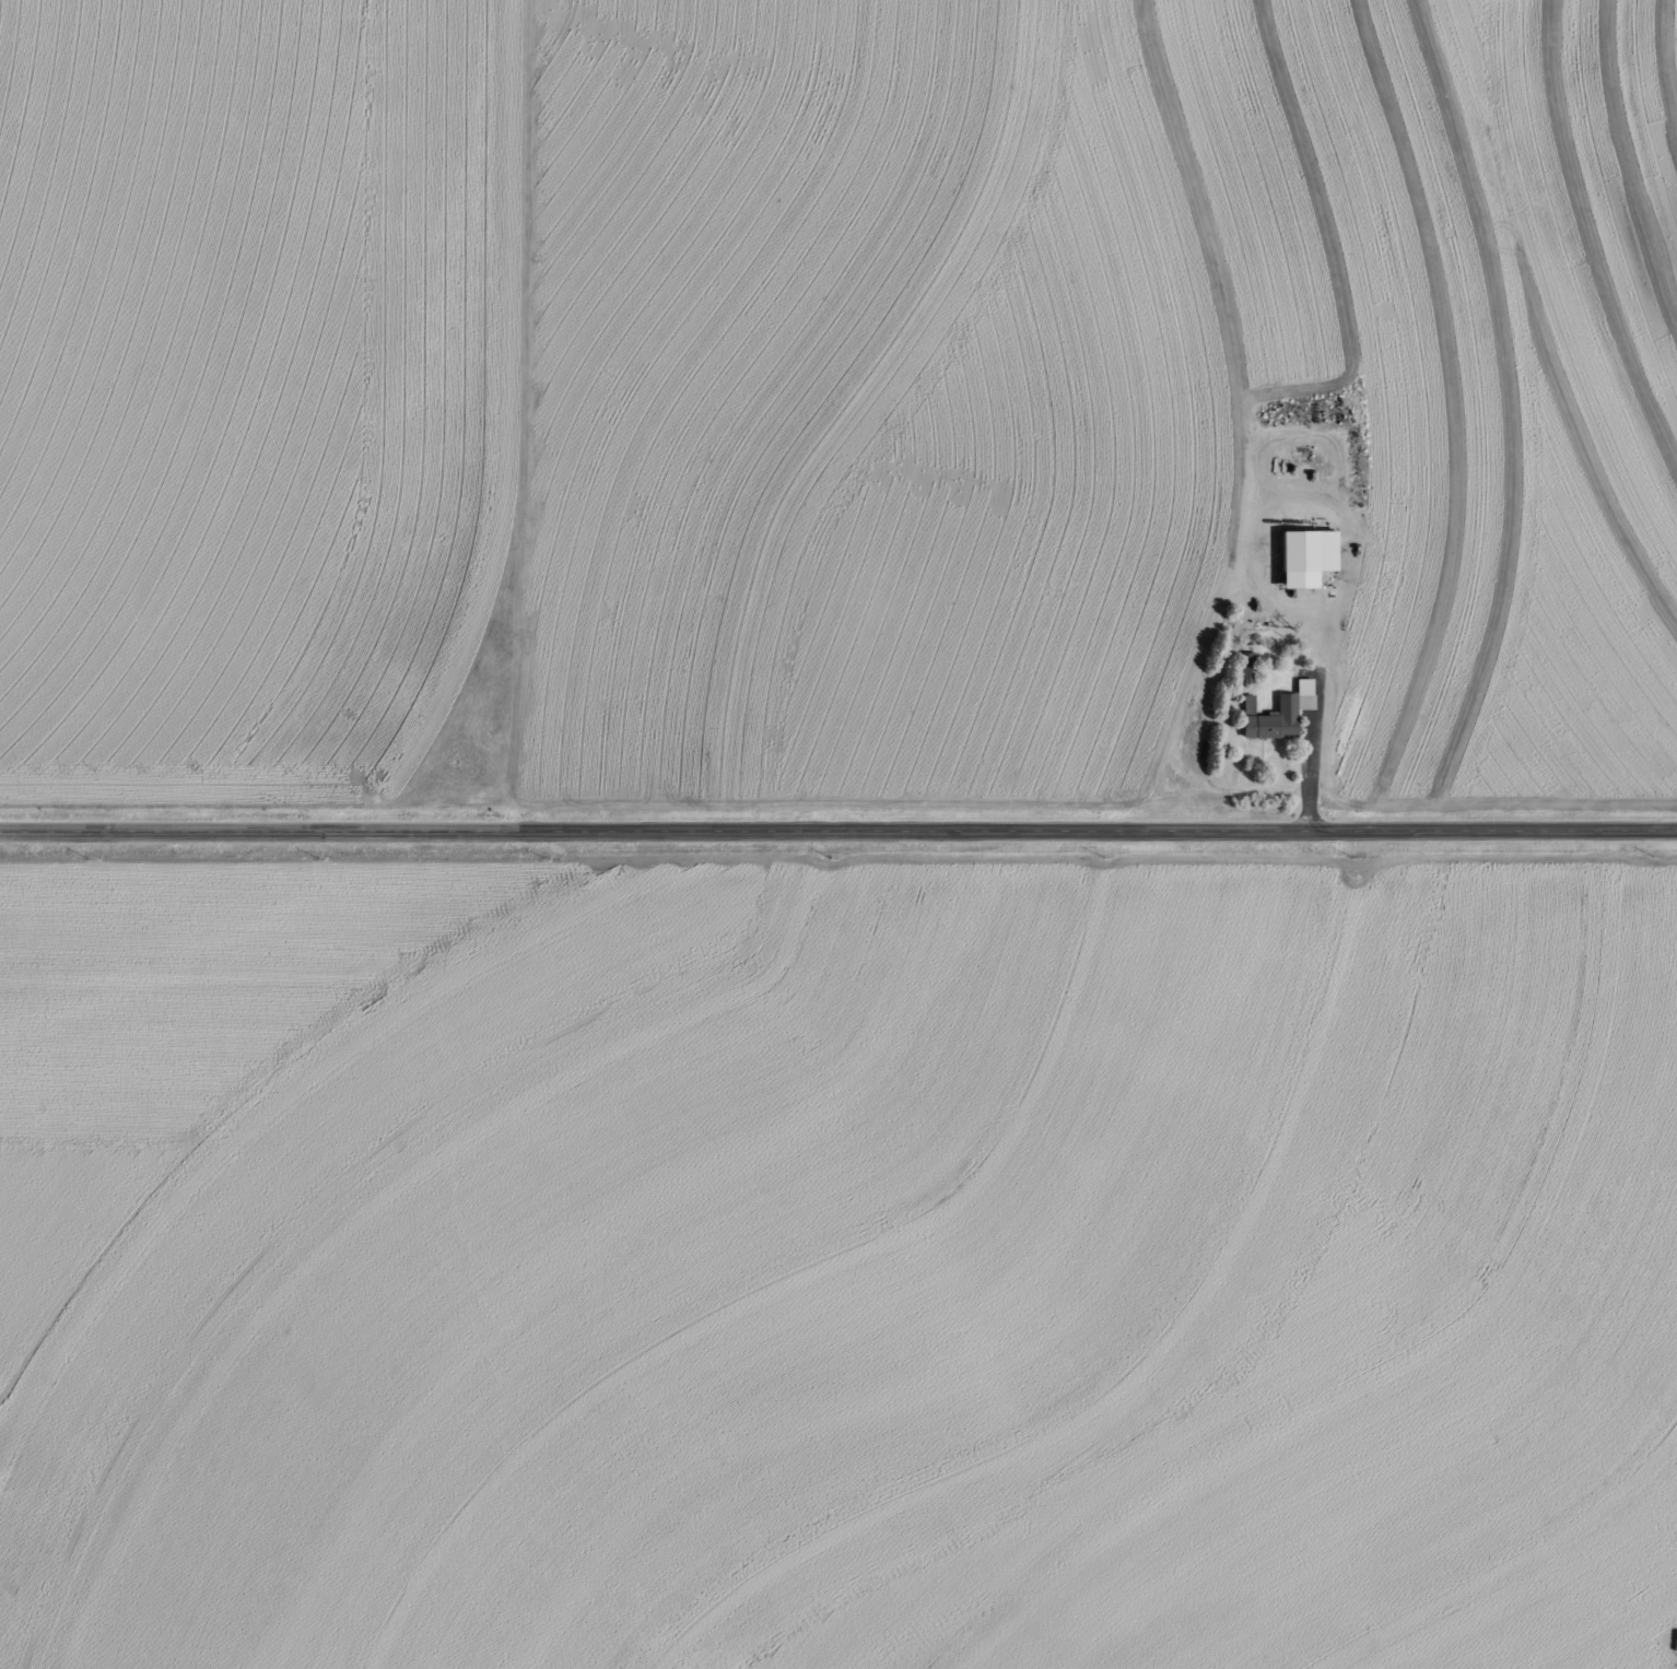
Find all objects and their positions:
building: (1300, 556)
building: (1275, 713)
road: (1309, 766)
road: (837, 830)

